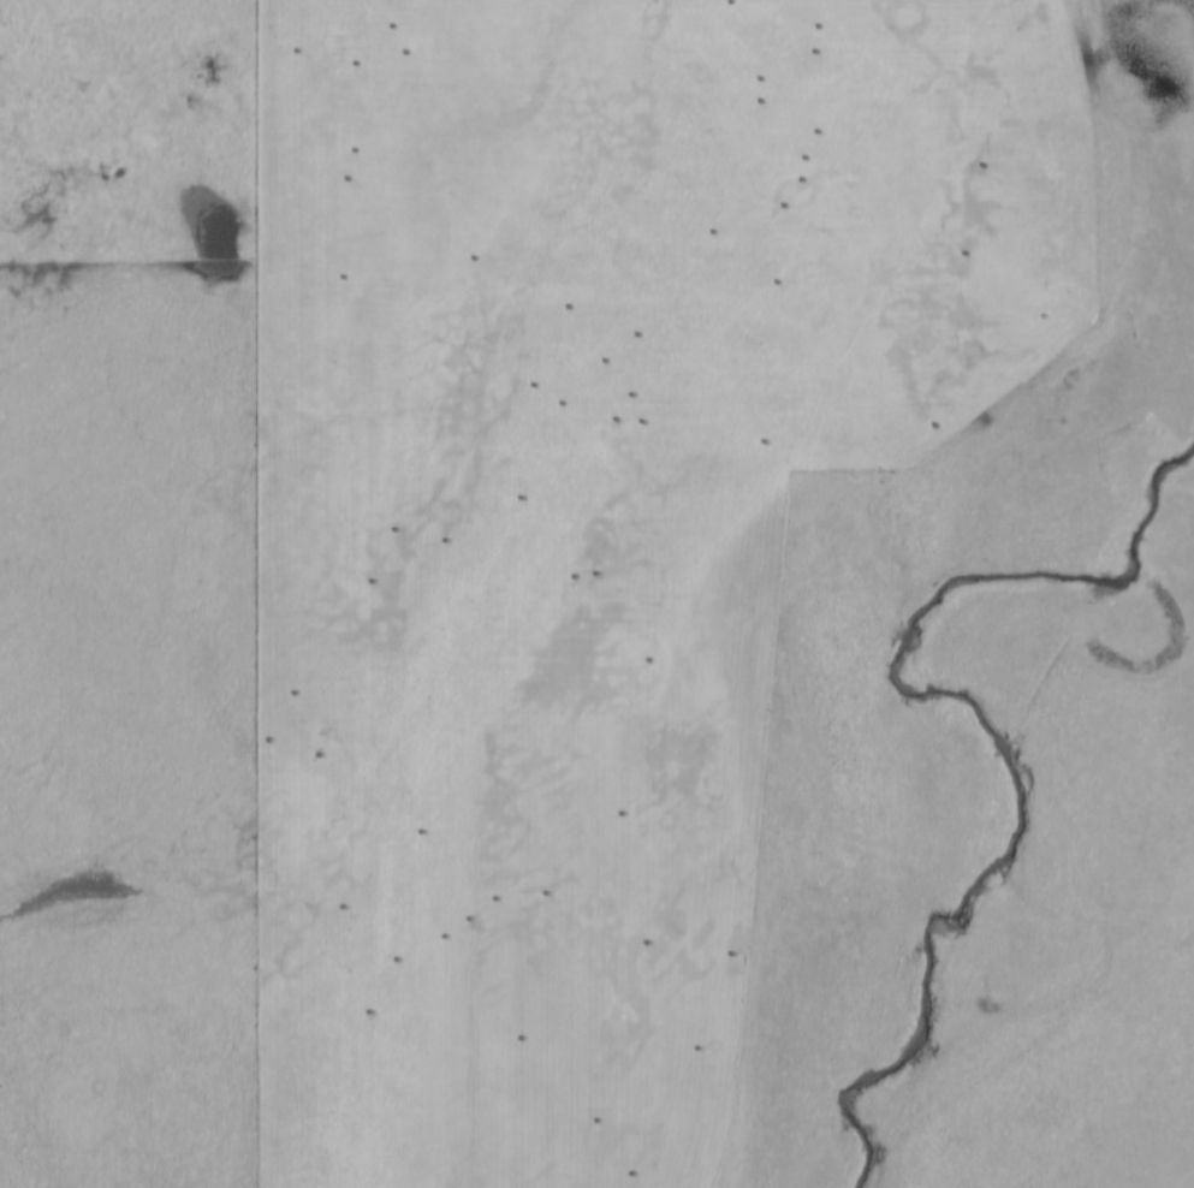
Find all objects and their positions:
river: (990, 726)

